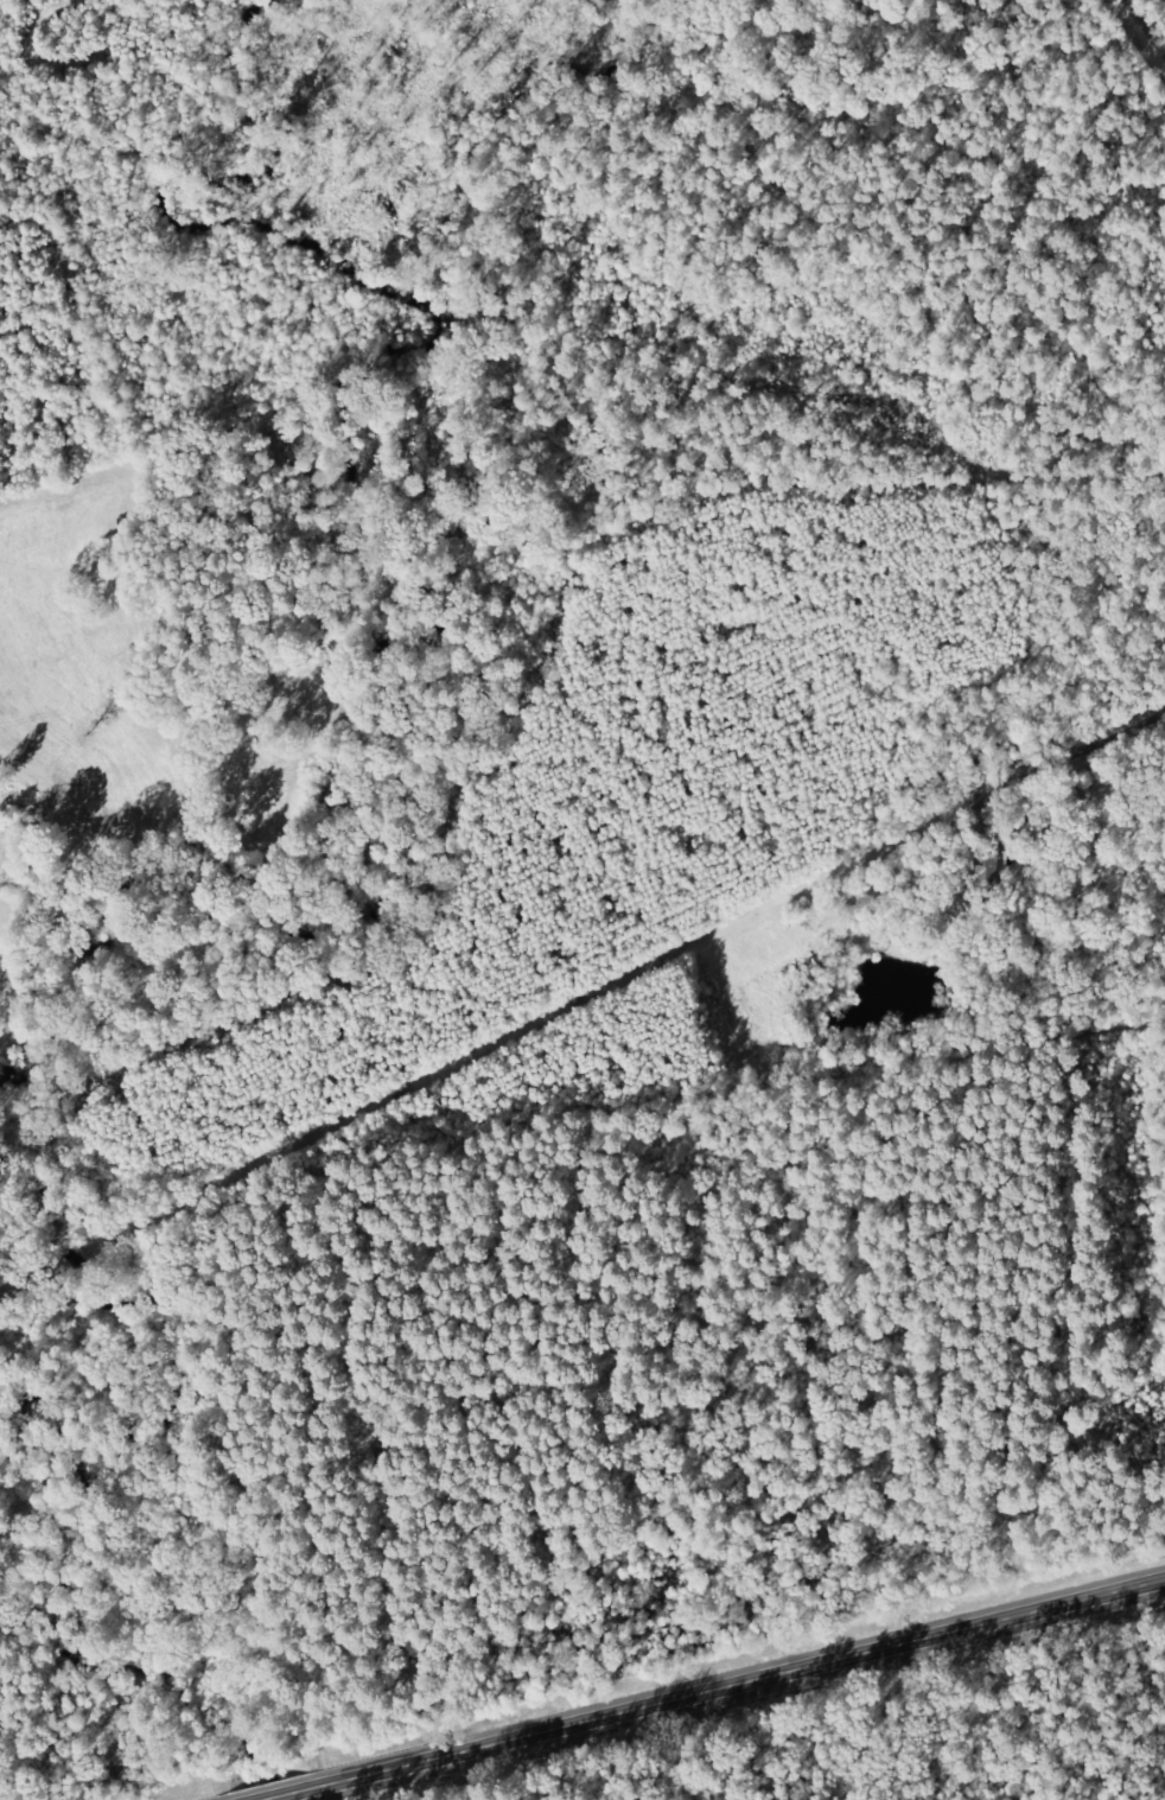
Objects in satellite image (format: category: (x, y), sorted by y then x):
road: (905, 1)
road: (647, 122)
road: (810, 462)
road: (1112, 944)
road: (847, 1594)
road: (702, 1683)

